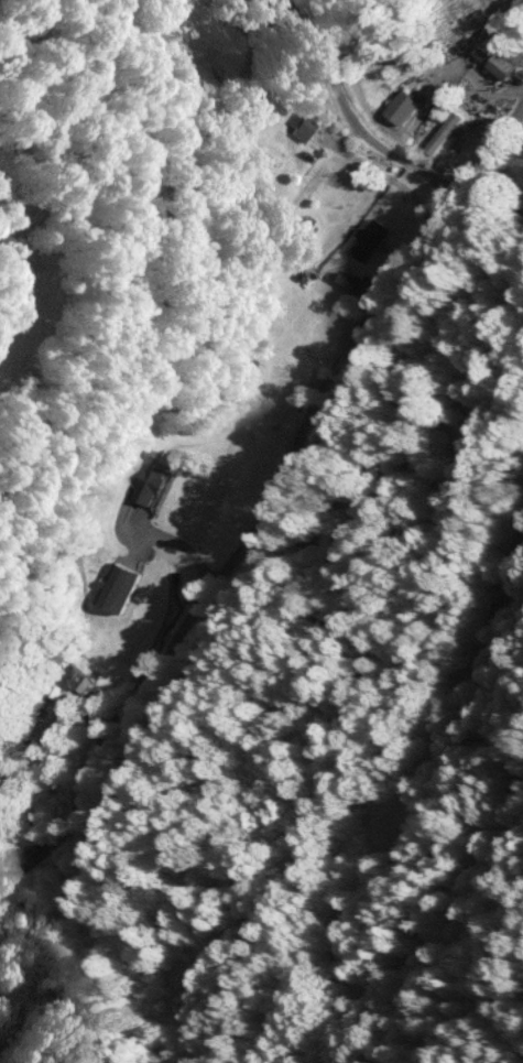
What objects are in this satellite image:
building: (501, 57)
building: (404, 108)
building: (298, 128)
building: (310, 186)
road: (282, 471)
building: (155, 486)
building: (74, 676)
road: (21, 812)

